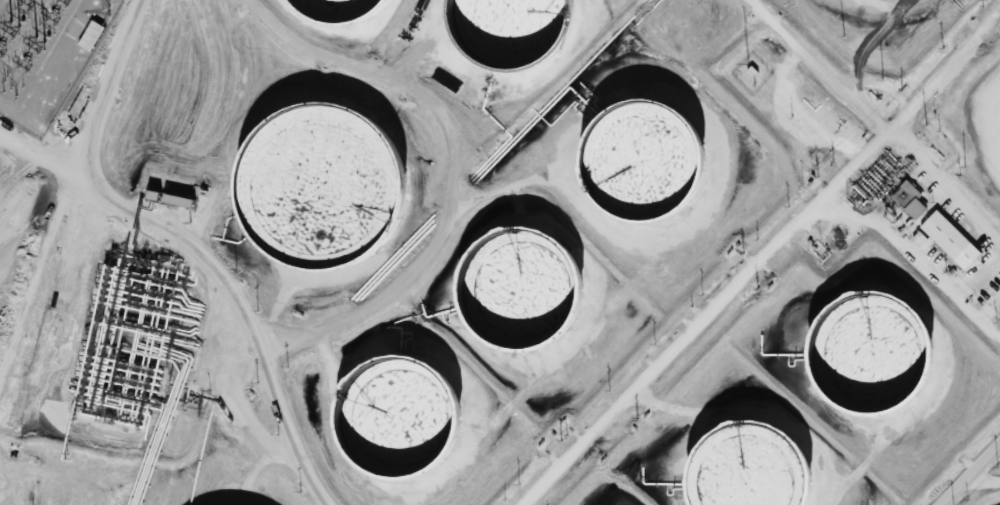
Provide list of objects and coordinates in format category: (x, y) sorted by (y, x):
building: (345, 10)
storage tank: (345, 10)
building: (517, 30)
storage tank: (517, 30)
power substation: (46, 53)
road: (816, 67)
building: (649, 159)
storage tank: (649, 159)
building: (326, 188)
storage tank: (326, 188)
building: (170, 199)
building: (908, 200)
road: (816, 206)
building: (949, 240)
building: (525, 288)
storage tank: (525, 288)
building: (873, 353)
storage tank: (873, 353)
building: (403, 418)
storage tank: (403, 418)
building: (751, 470)
storage tank: (751, 470)
road: (970, 474)

